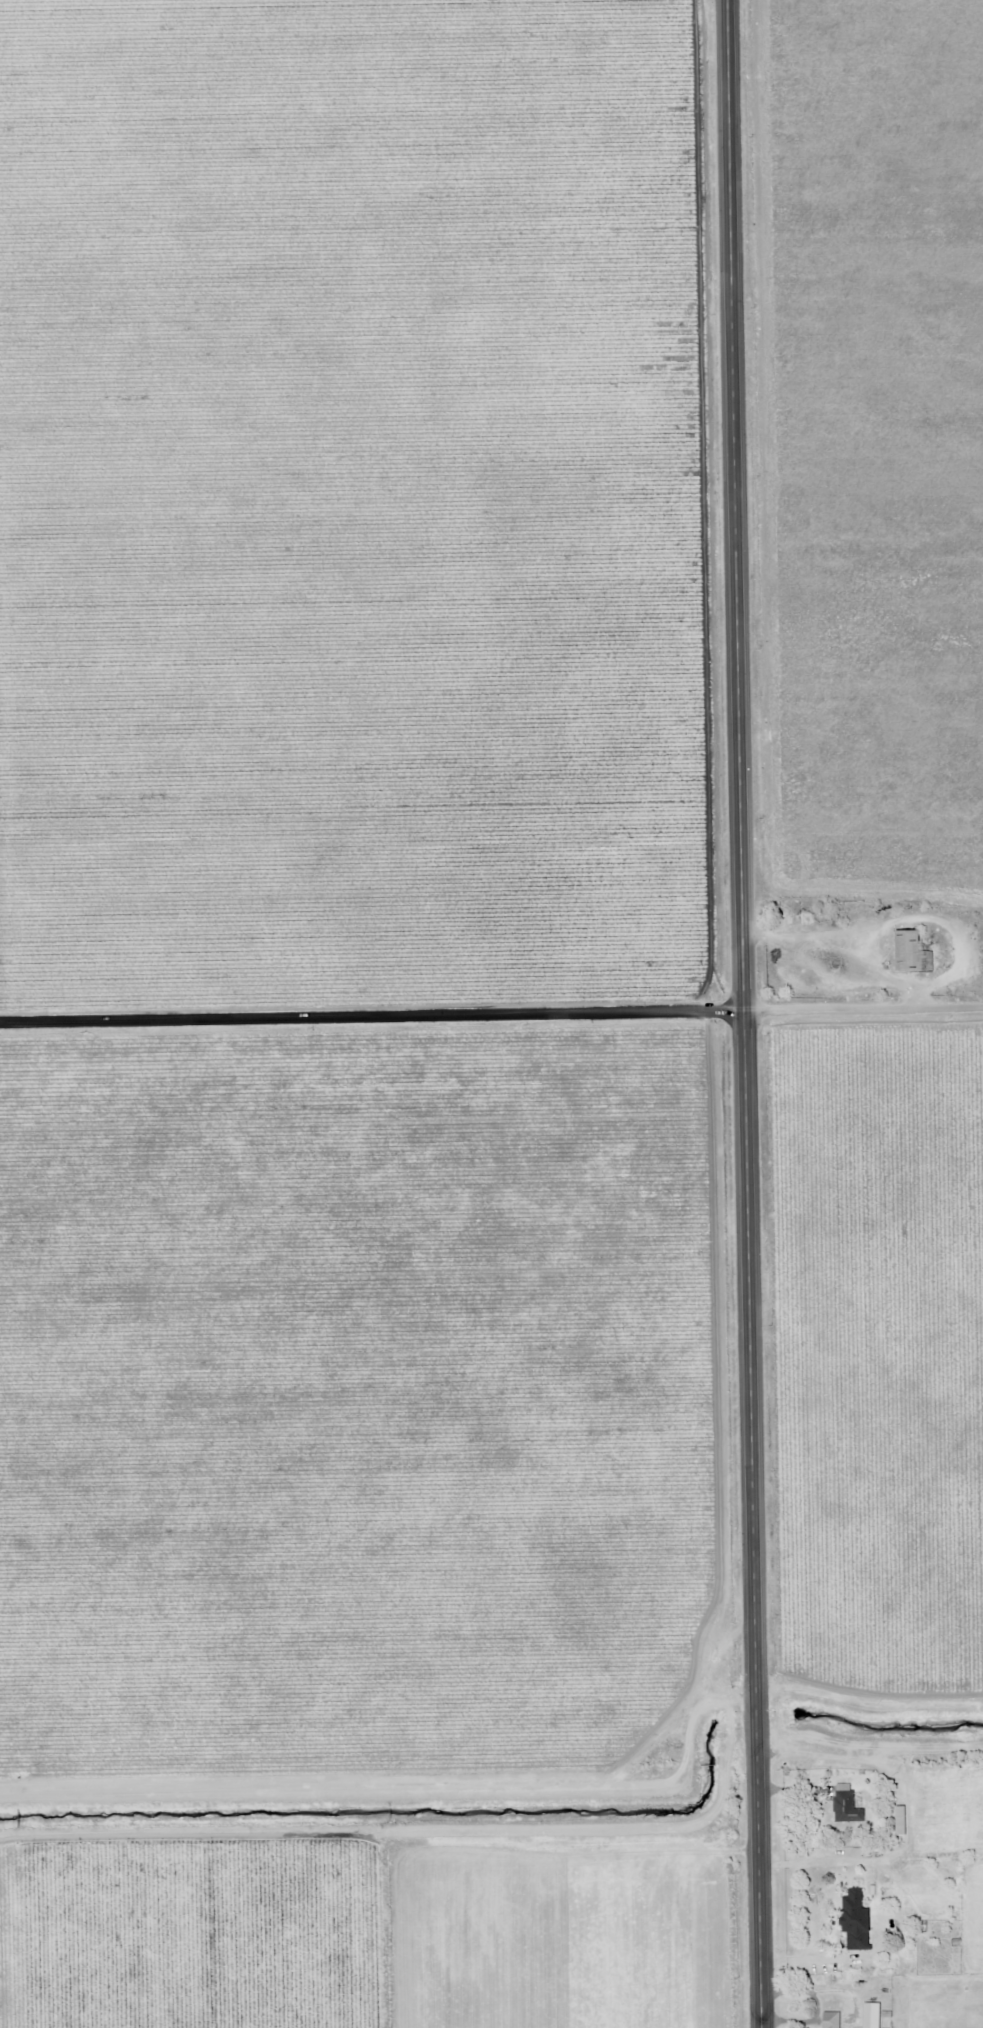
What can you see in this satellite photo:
building: (802, 914)
building: (911, 953)
road: (864, 1011)
road: (744, 1013)
road: (372, 1019)
building: (843, 1803)
building: (899, 1821)
building: (854, 1920)
building: (870, 2015)
building: (830, 2019)

